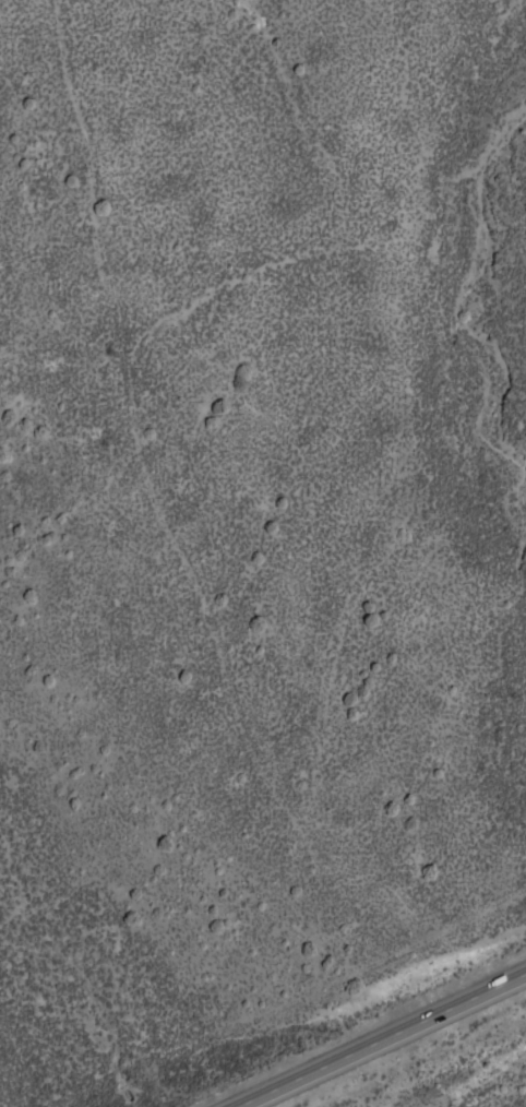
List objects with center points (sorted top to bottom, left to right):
road: (378, 1038)

